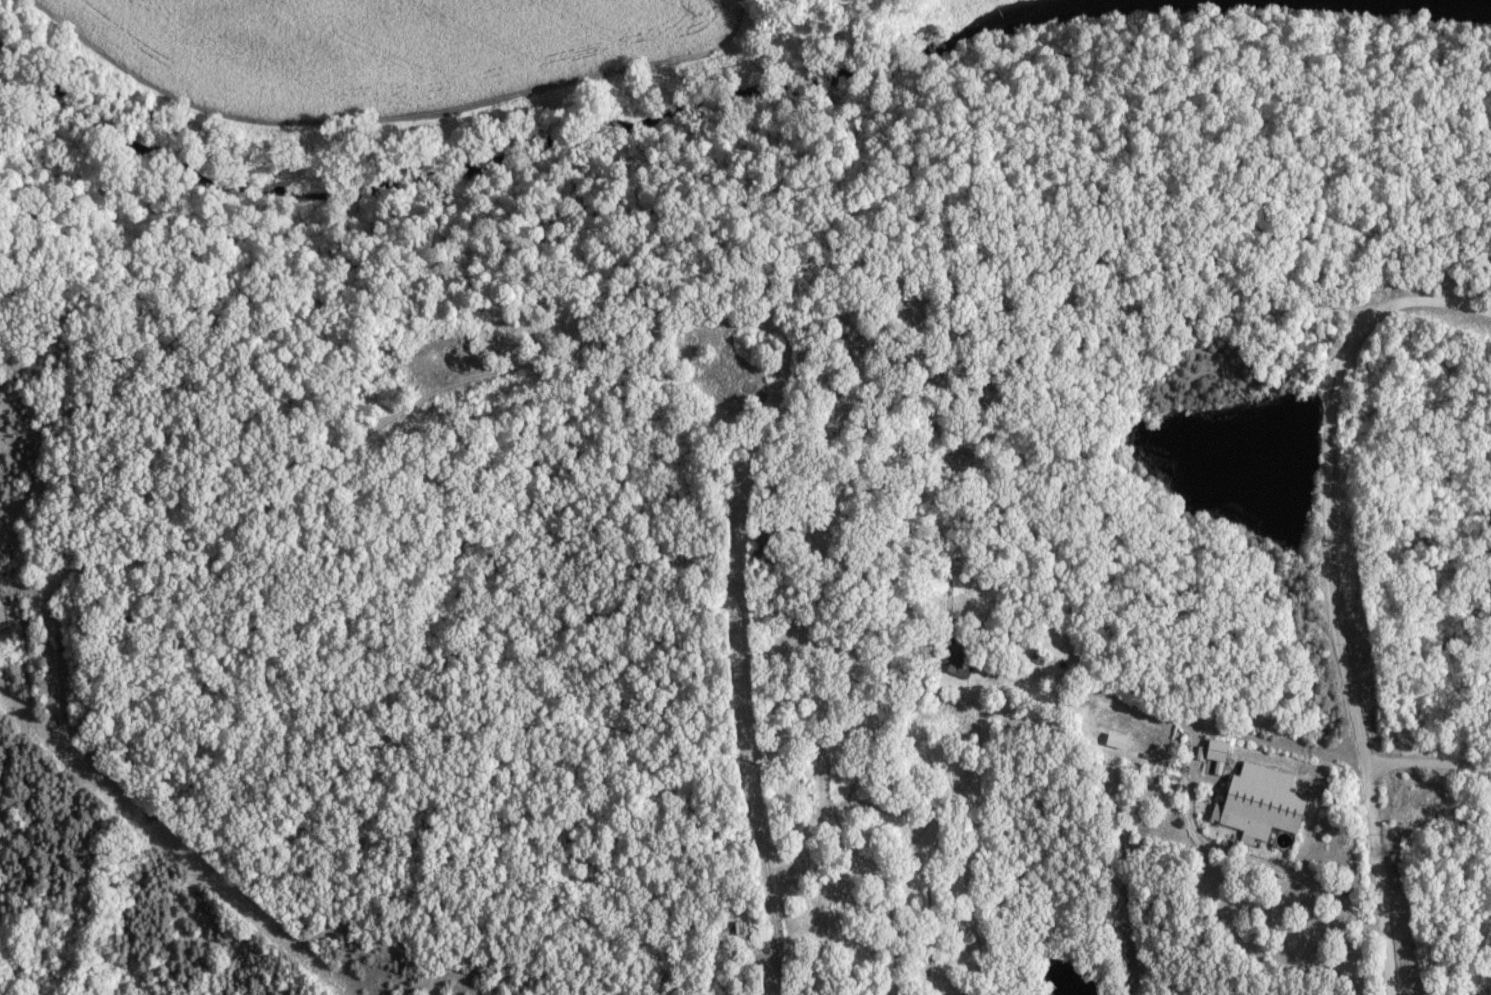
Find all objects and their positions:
road: (781, 374)
building: (769, 537)
road: (1329, 585)
road: (1014, 656)
building: (956, 661)
building: (1218, 753)
road: (1426, 762)
building: (1261, 805)
road: (1117, 838)
road: (1241, 857)

